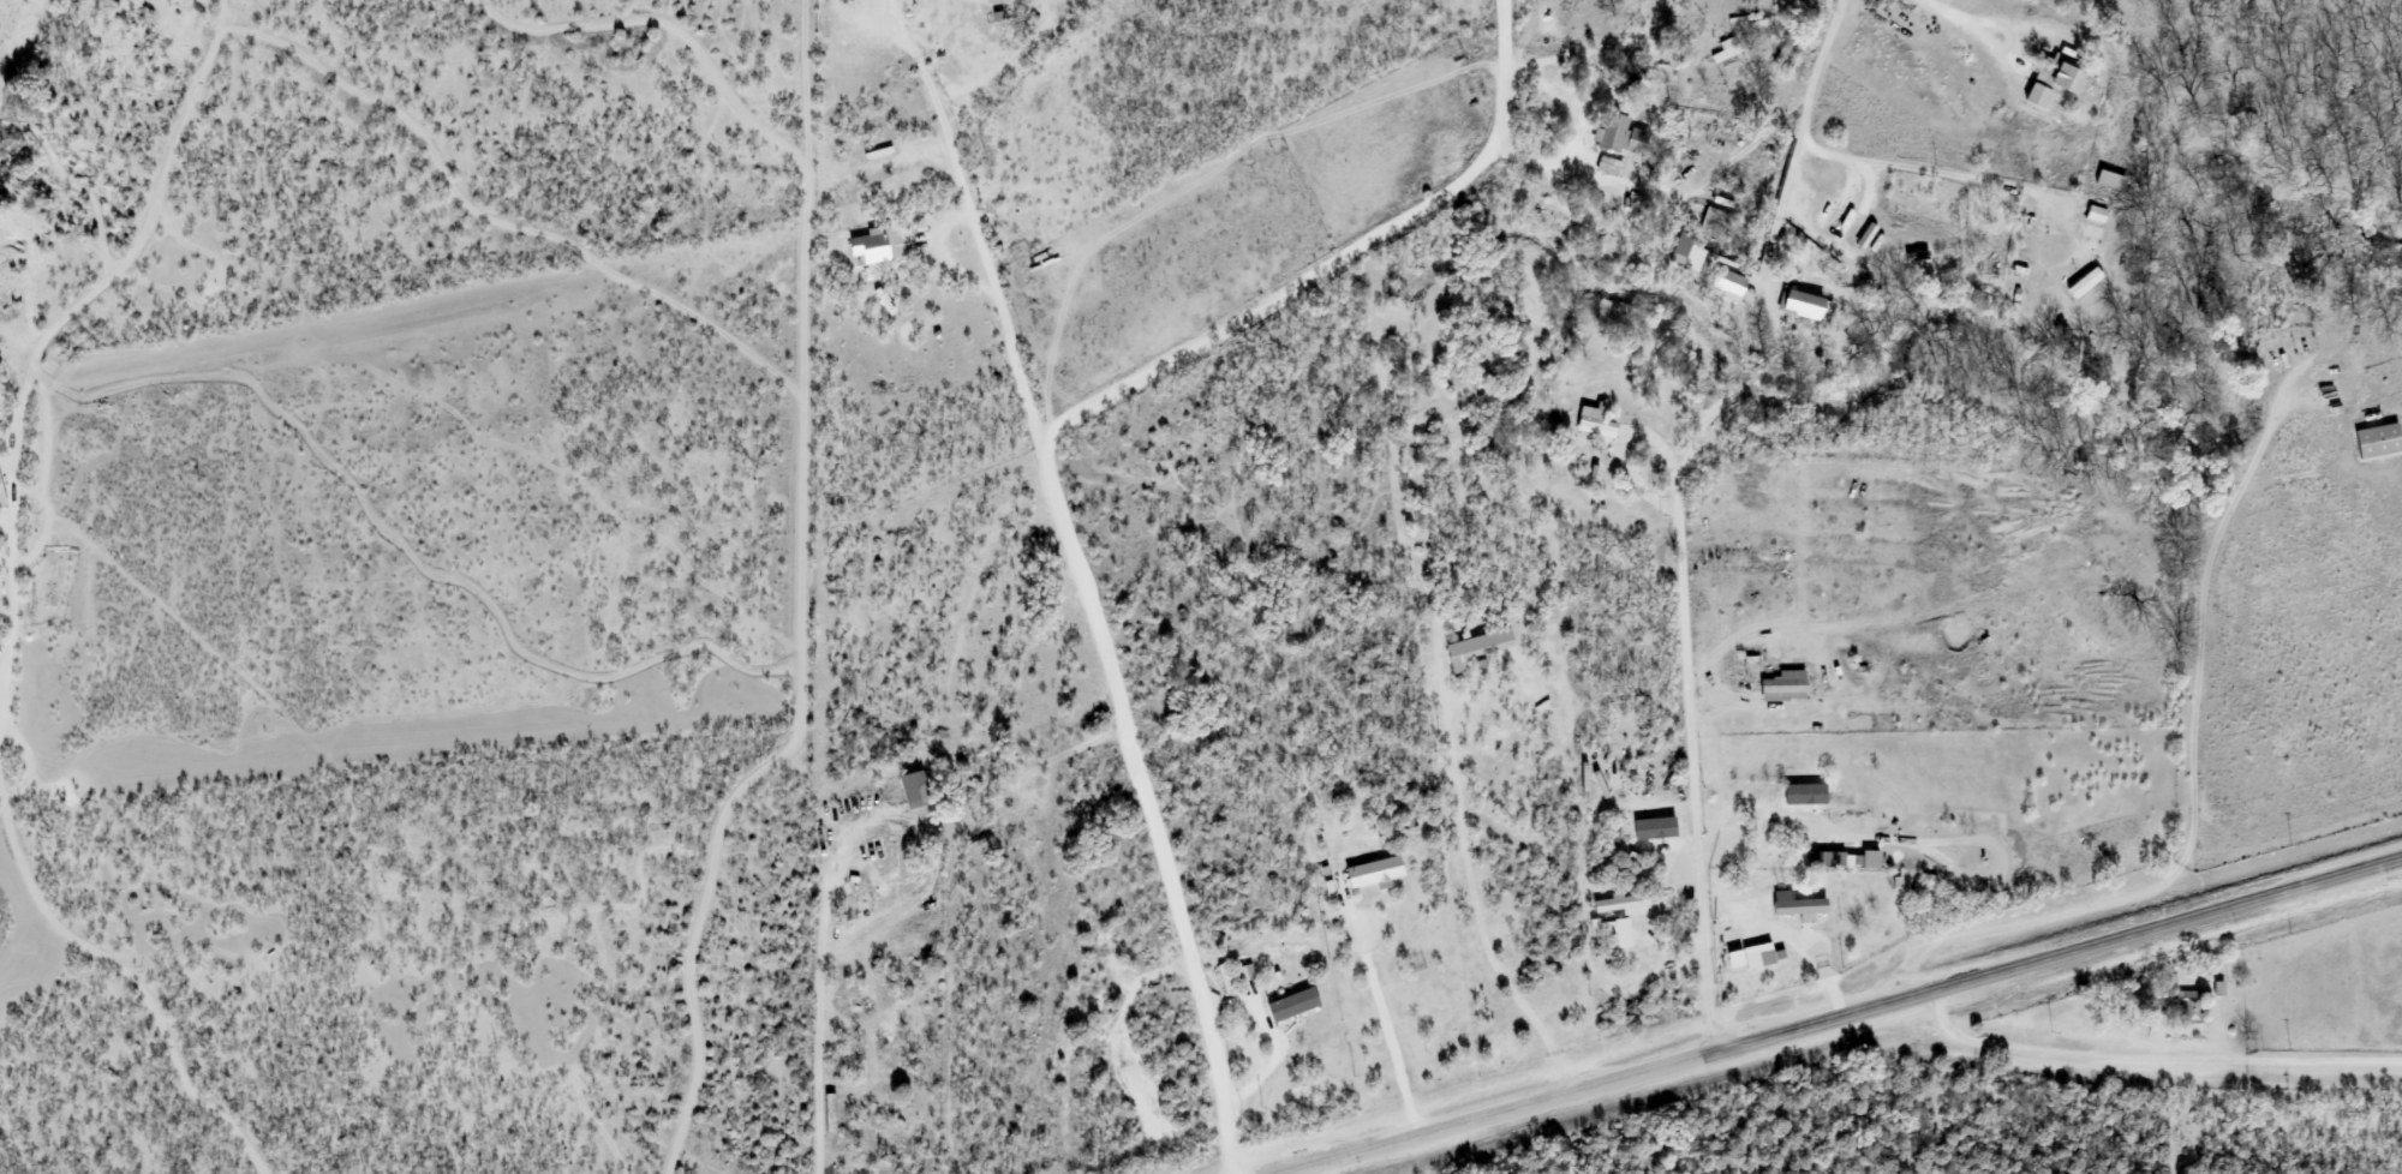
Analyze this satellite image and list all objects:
building: (1727, 50)
building: (1783, 54)
building: (2056, 82)
road: (2337, 98)
building: (1614, 132)
building: (2111, 181)
building: (1714, 220)
building: (1683, 245)
building: (865, 250)
building: (2085, 282)
building: (1731, 283)
road: (2380, 289)
building: (1805, 305)
building: (2378, 441)
road: (2273, 551)
building: (964, 601)
building: (1478, 647)
building: (1786, 687)
road: (2194, 693)
building: (915, 790)
building: (1847, 803)
building: (1398, 834)
building: (891, 858)
building: (1859, 862)
building: (1376, 873)
building: (1621, 904)
building: (1801, 908)
road: (1176, 918)
building: (1603, 929)
road: (1372, 977)
building: (867, 994)
building: (848, 1002)
building: (1289, 1002)
building: (2191, 1007)
road: (1836, 1016)
building: (2157, 1024)
road: (2122, 1102)

